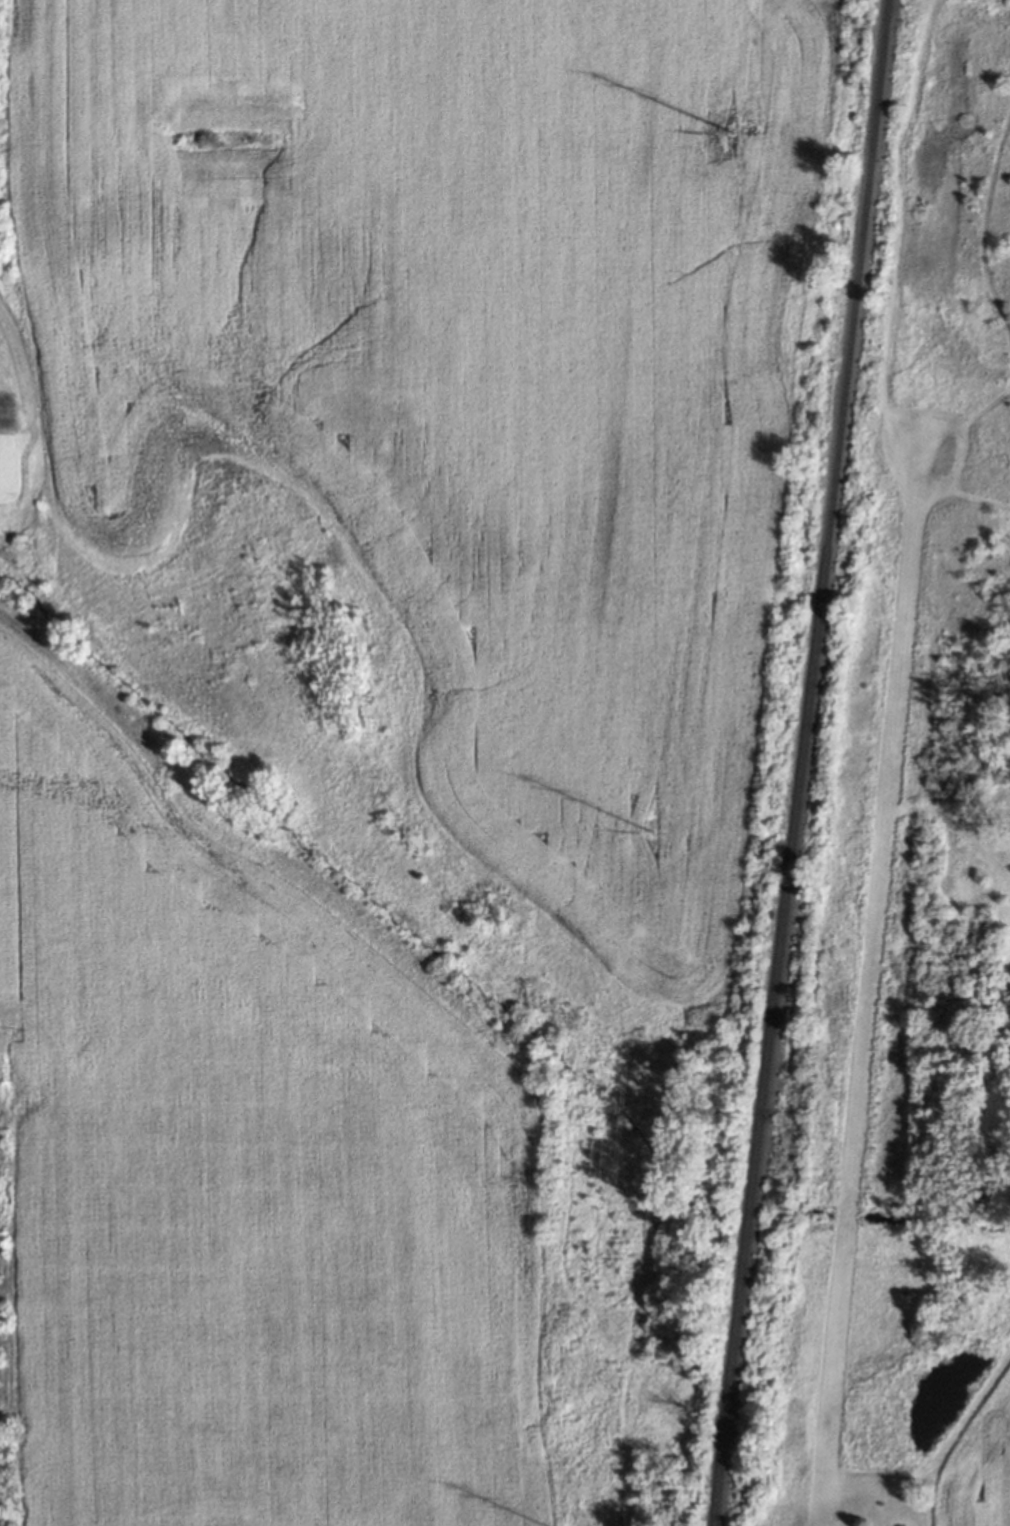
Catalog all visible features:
power tower: (730, 152)
railway: (800, 762)
power tower: (651, 832)
crop: (250, 1168)
crop: (882, 1292)
crop: (801, 1391)
crop: (977, 1461)

